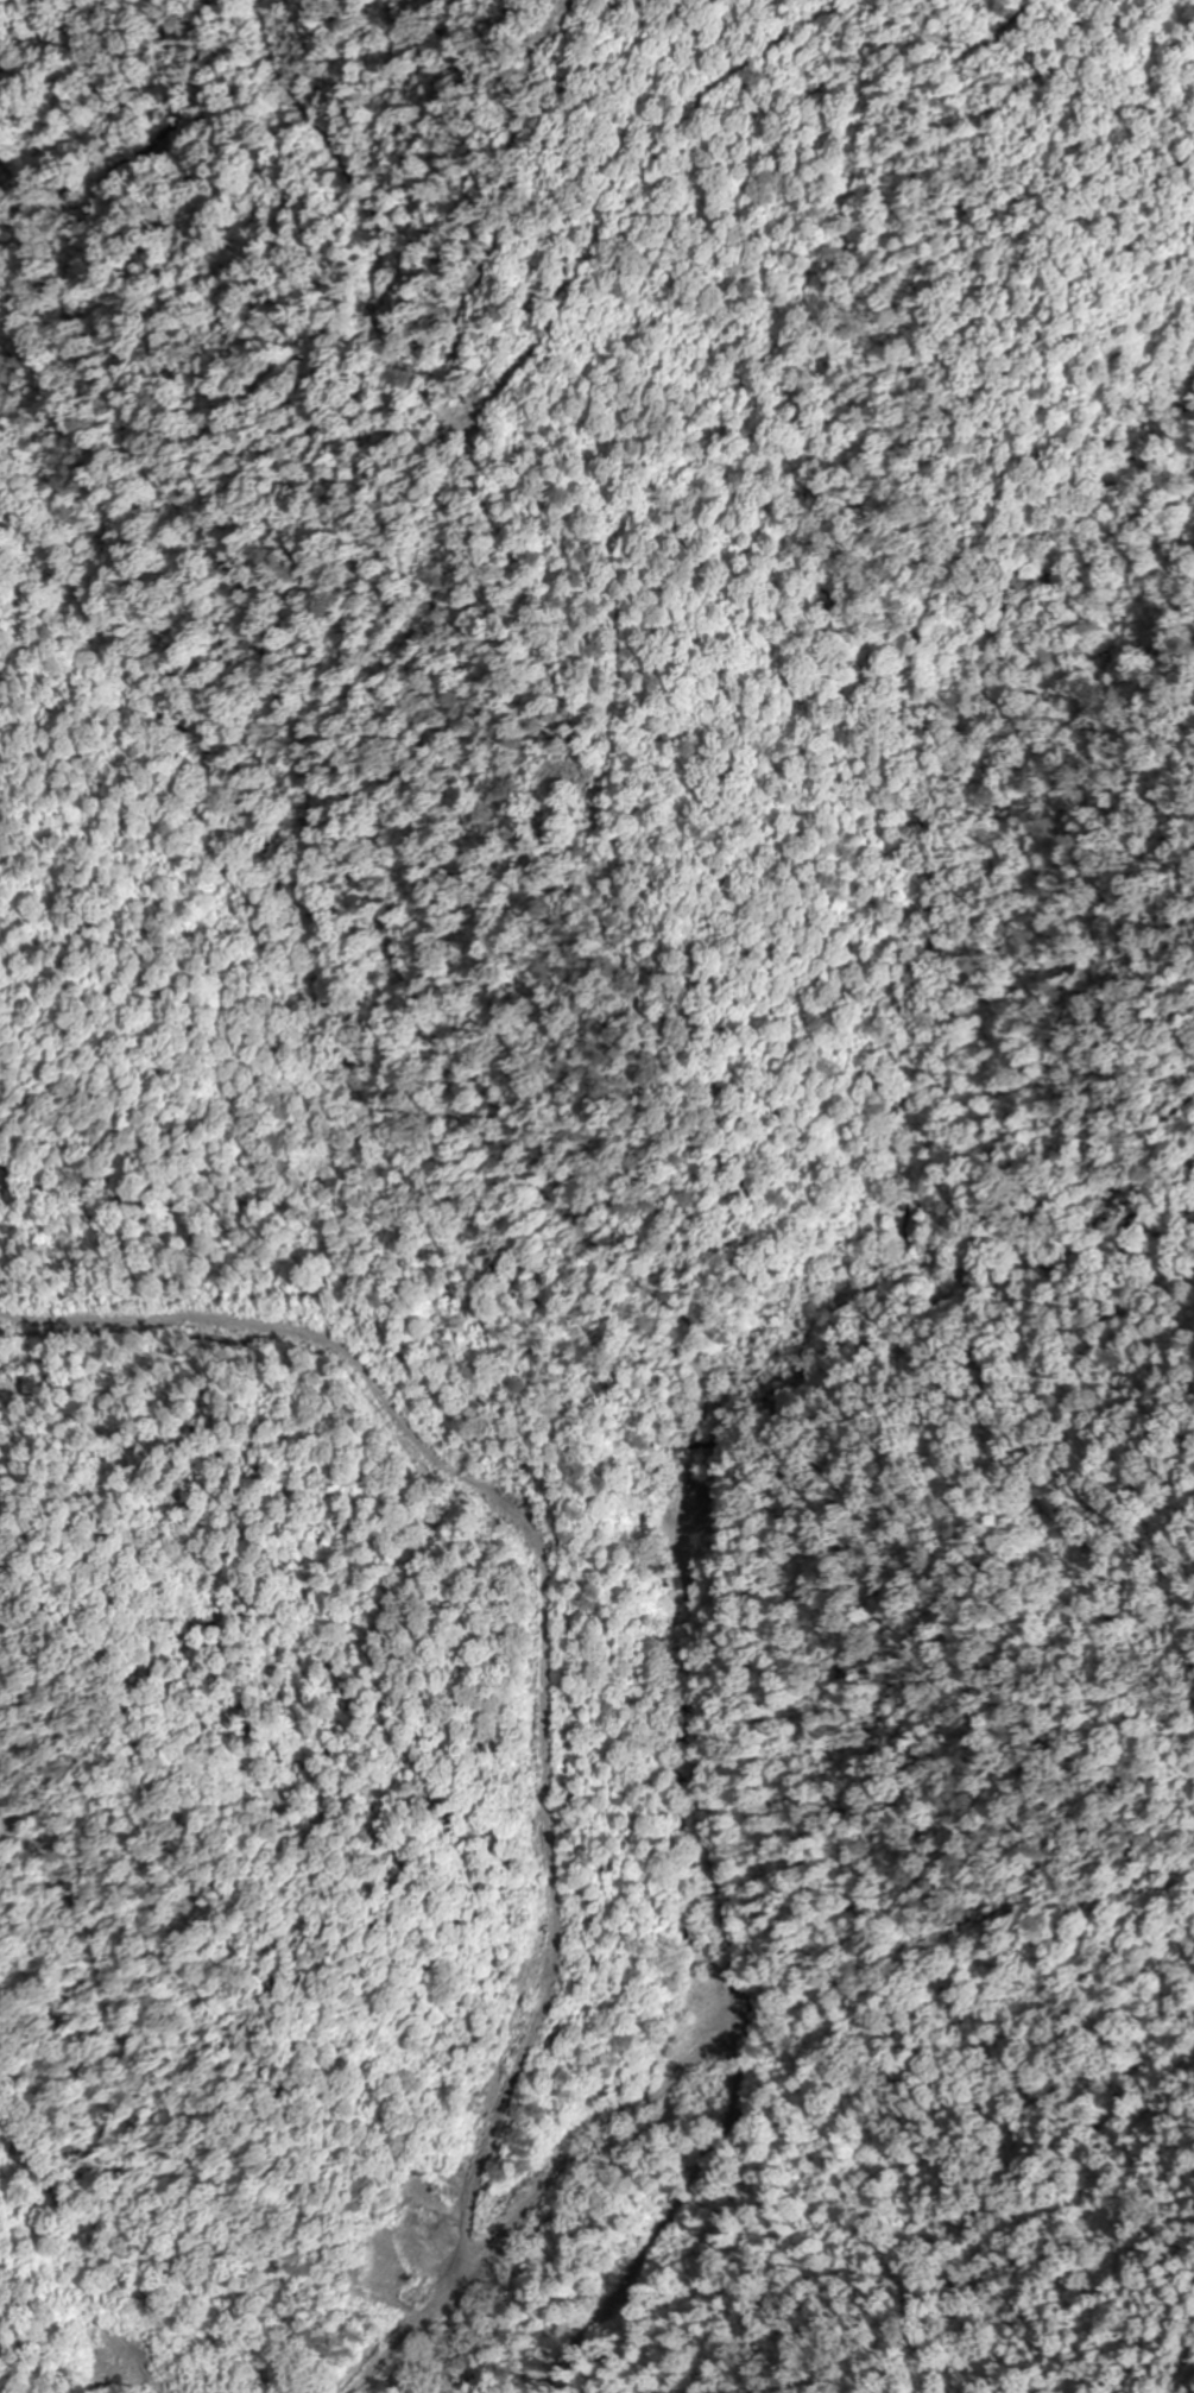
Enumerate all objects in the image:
road: (658, 1370)

